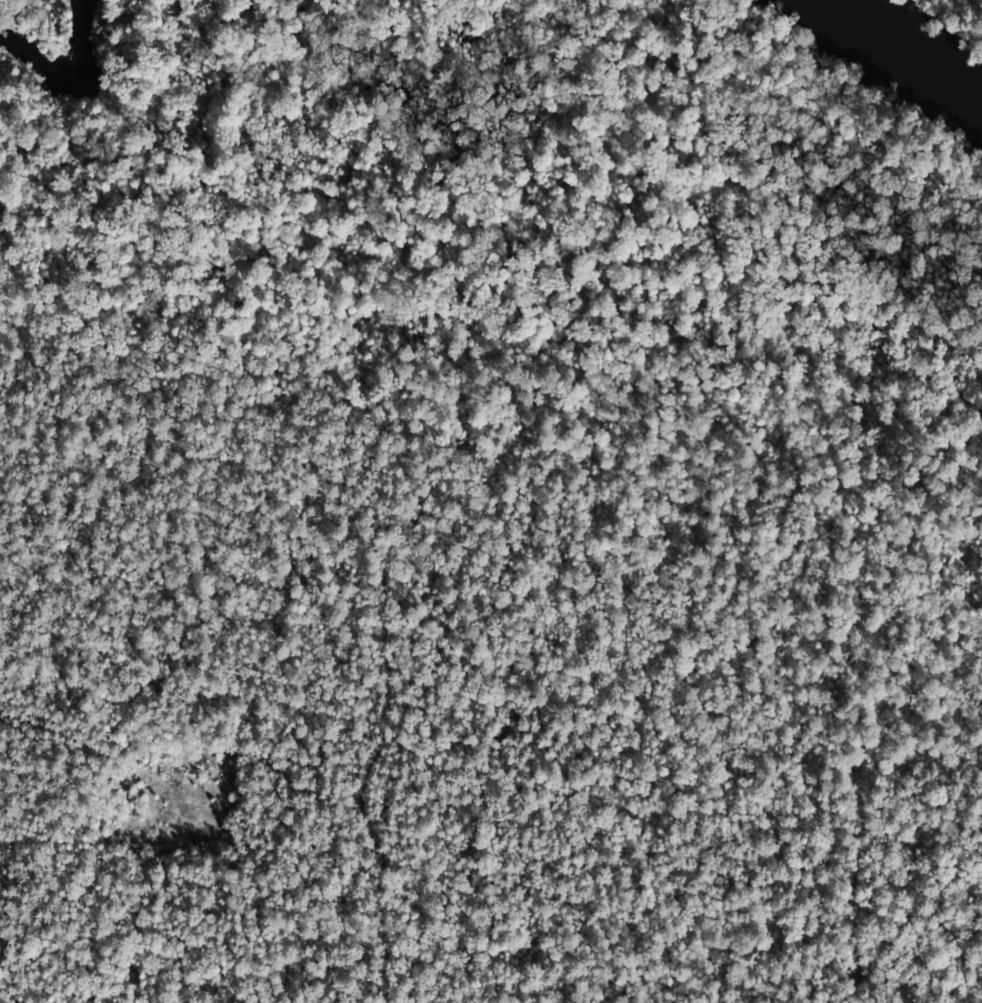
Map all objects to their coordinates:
river: (913, 43)

